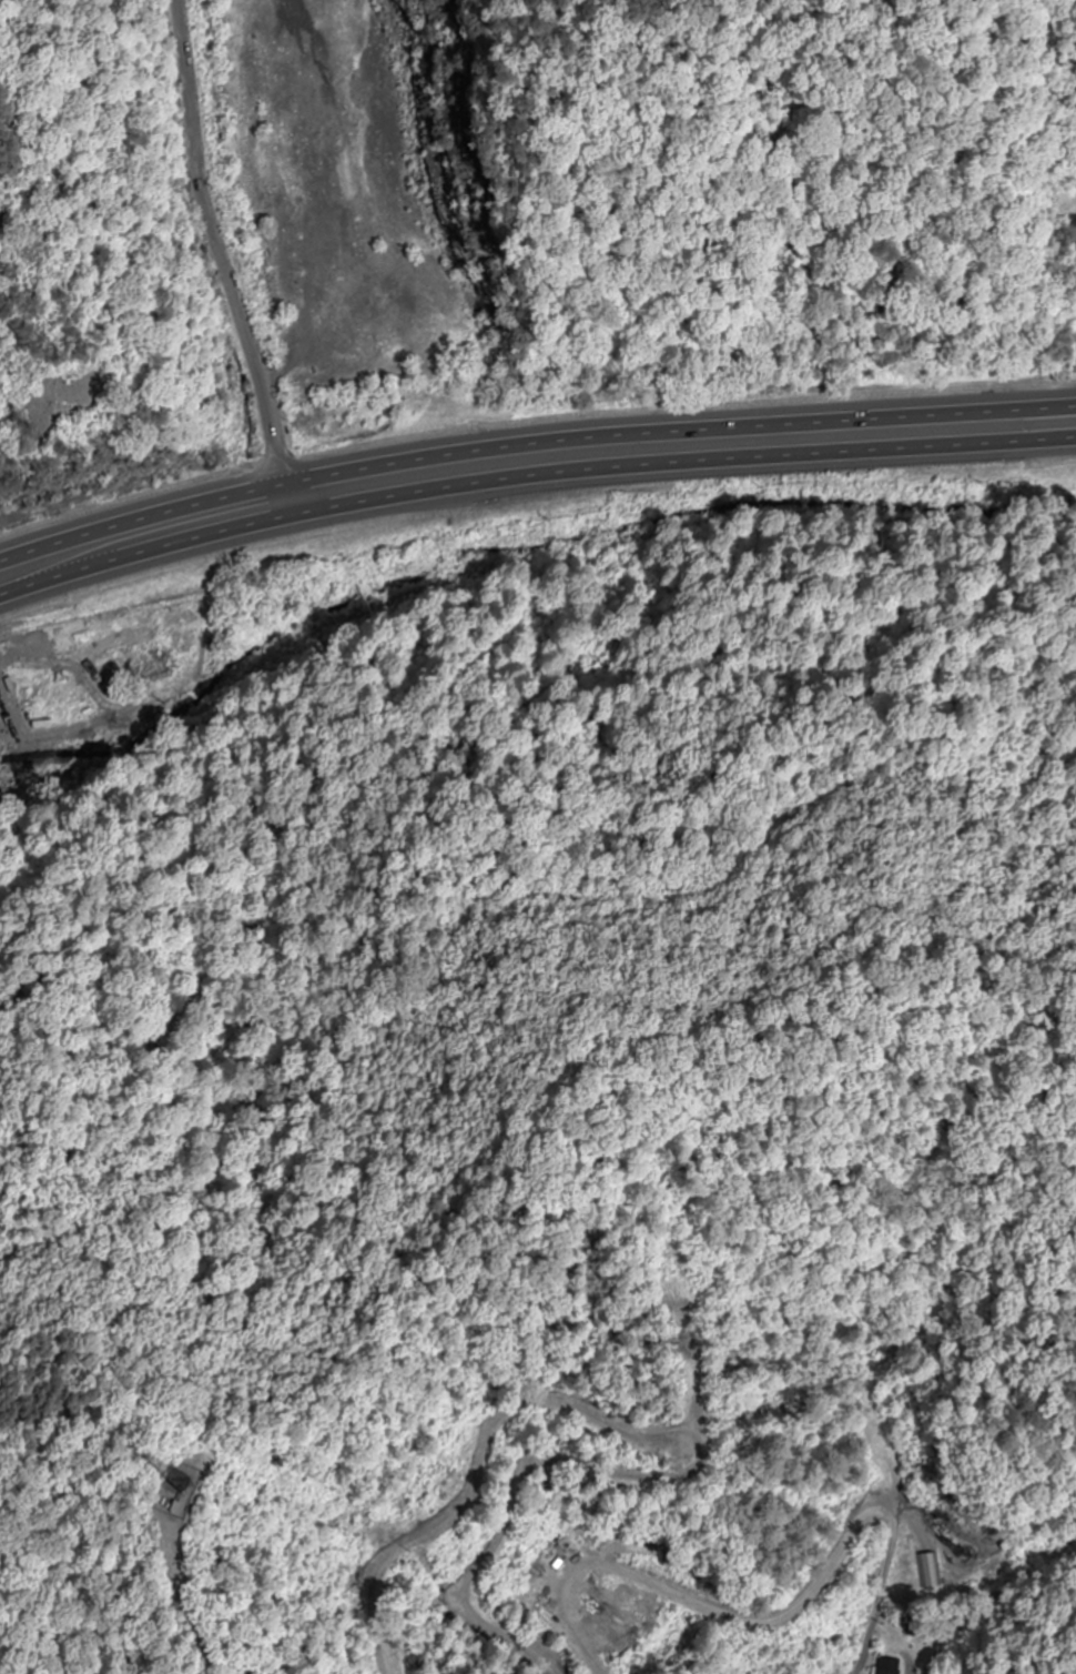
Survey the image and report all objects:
road: (531, 447)
road: (531, 476)
road: (847, 1650)
building: (887, 1665)

